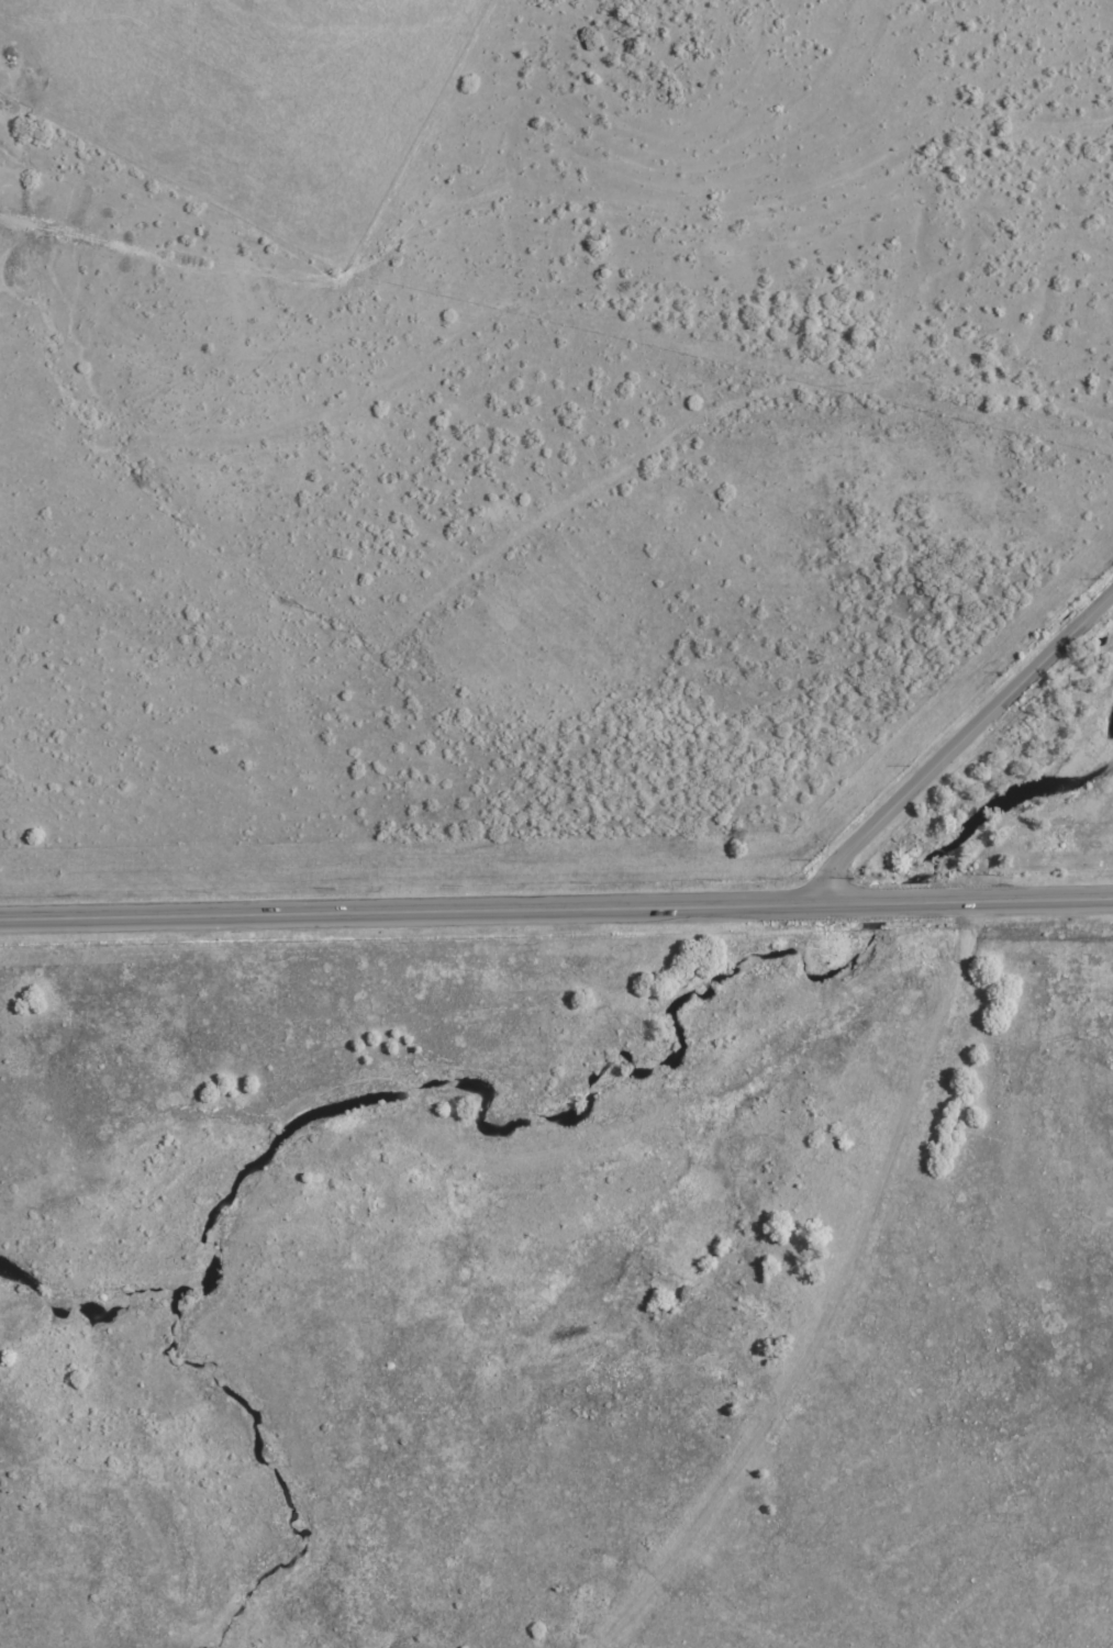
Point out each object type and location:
road: (959, 751)
road: (556, 912)

